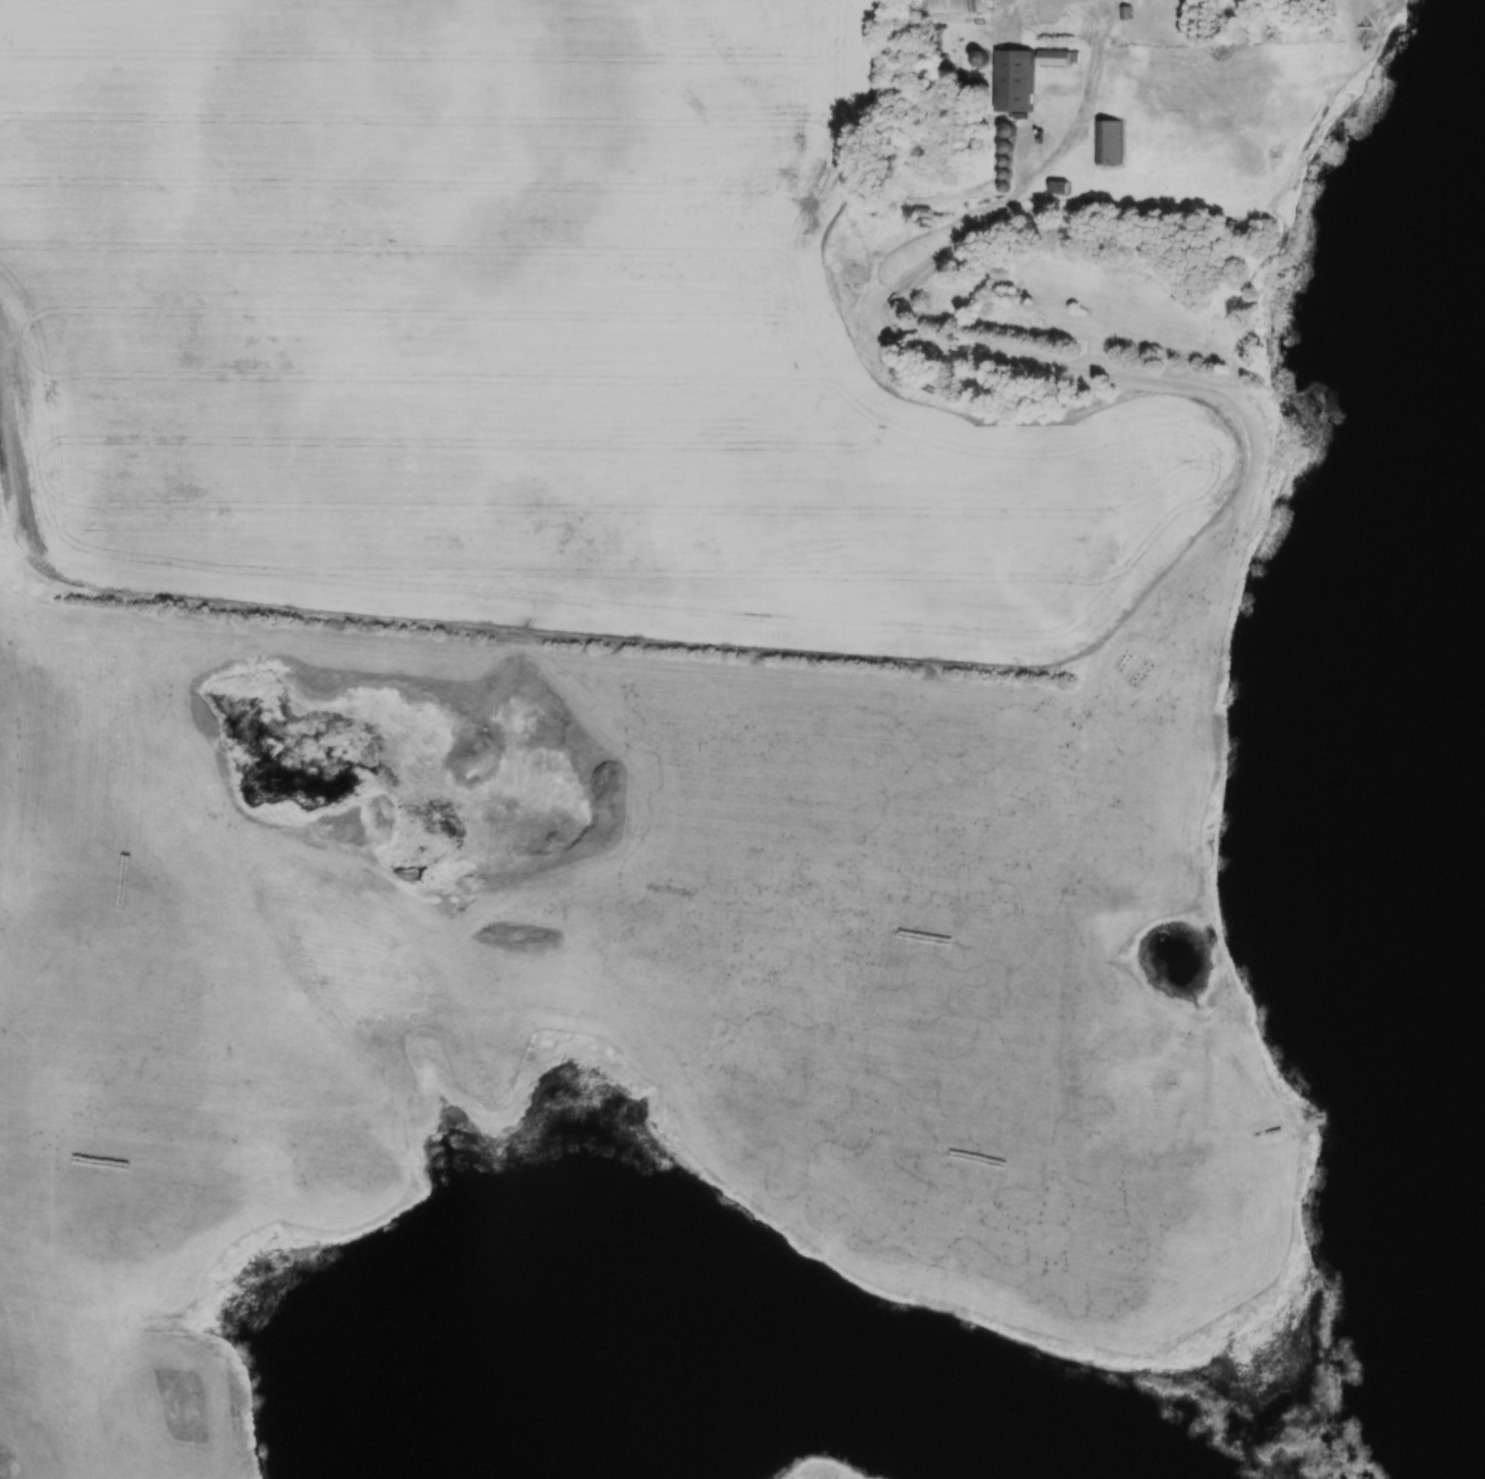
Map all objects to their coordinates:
building: (961, 6)
building: (1014, 82)
building: (1109, 142)
building: (1058, 187)

